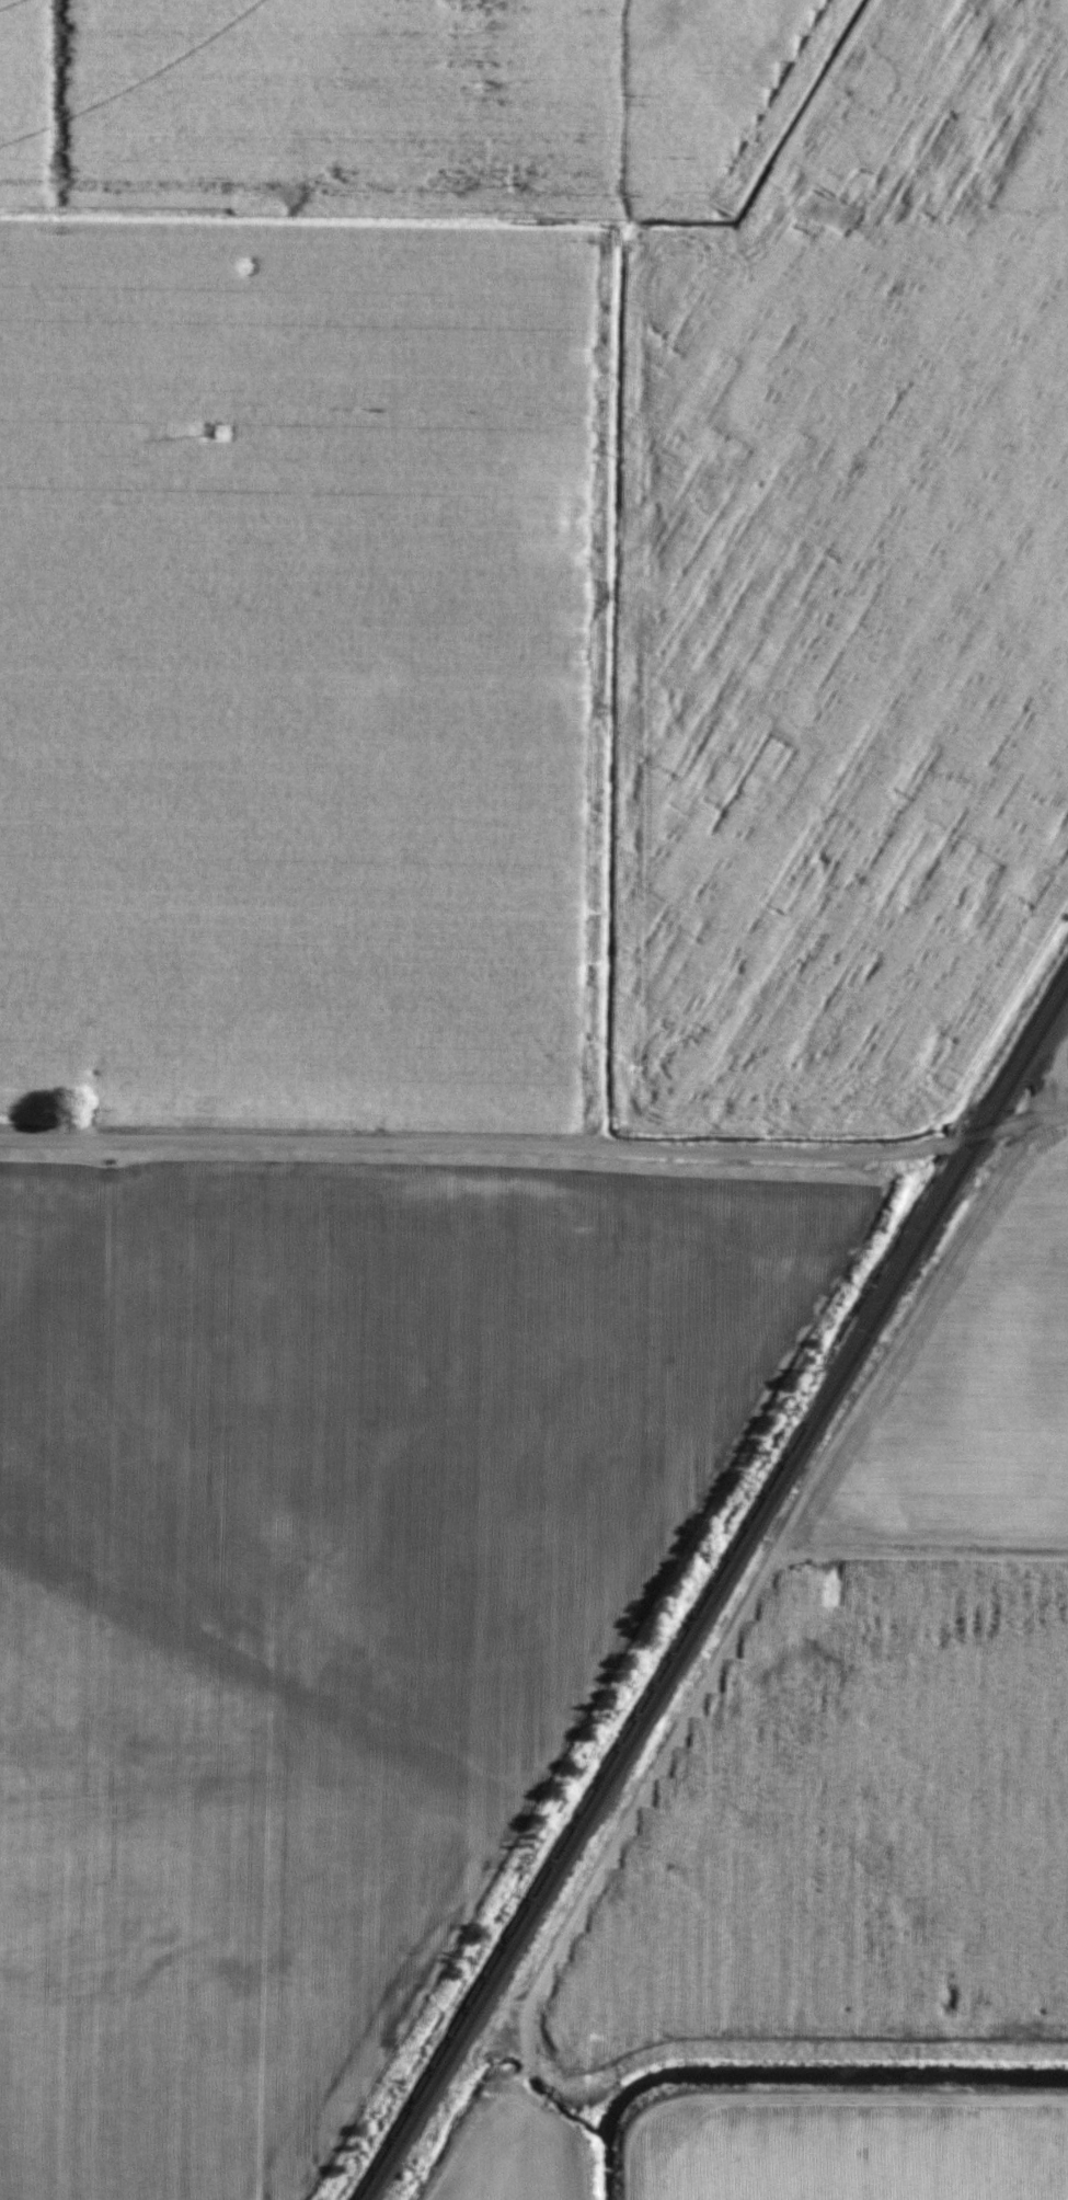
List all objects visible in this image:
power tower: (517, 182)
power tower: (215, 432)
road: (536, 1147)
railway: (711, 1583)
railway: (717, 1593)

